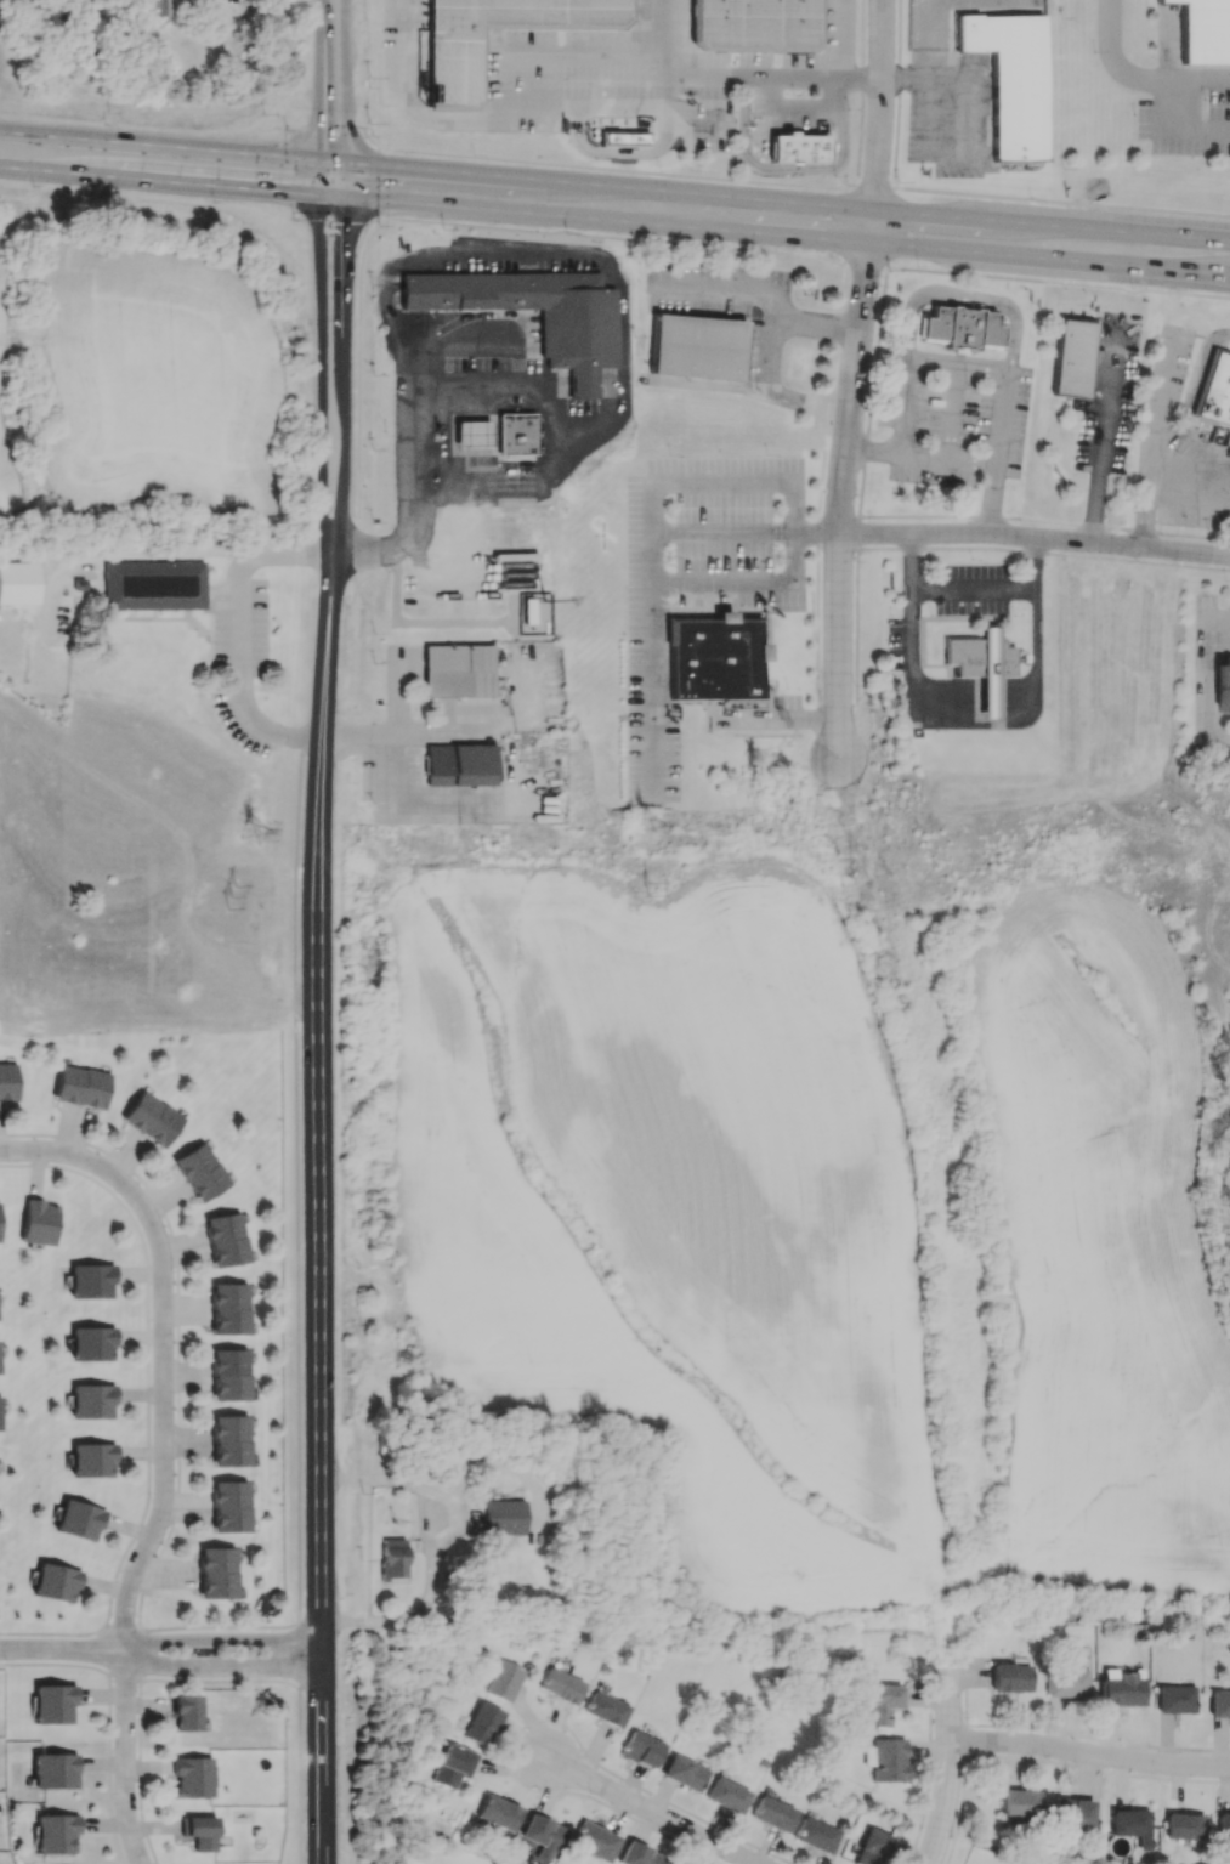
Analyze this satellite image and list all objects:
building: (158, 7)
building: (754, 24)
building: (1205, 30)
road: (840, 39)
road: (930, 39)
road: (662, 53)
building: (457, 68)
parking lot: (622, 68)
road: (770, 77)
road: (1137, 78)
road: (905, 79)
road: (322, 80)
building: (1010, 80)
road: (344, 81)
road: (862, 92)
road: (895, 95)
road: (1169, 98)
road: (583, 104)
road: (798, 104)
road: (877, 104)
road: (505, 111)
parking lot: (1186, 111)
road: (698, 125)
road: (363, 130)
road: (623, 130)
building: (622, 141)
building: (798, 147)
road: (172, 148)
road: (620, 152)
road: (975, 153)
traffic signals: (322, 162)
traffic signals: (346, 164)
road: (794, 168)
road: (24, 170)
road: (197, 185)
road: (376, 185)
road: (806, 185)
traffic signals: (322, 197)
traffic signals: (346, 198)
road: (788, 202)
road: (788, 236)
road: (794, 254)
road: (482, 287)
road: (771, 289)
road: (963, 301)
building: (960, 327)
building: (574, 340)
building: (697, 347)
road: (770, 356)
building: (1072, 357)
road: (322, 359)
road: (345, 361)
road: (967, 366)
road: (357, 381)
building: (1214, 391)
road: (1158, 393)
road: (1195, 395)
parking lot: (1110, 400)
road: (953, 410)
parking lot: (953, 418)
road: (414, 421)
building: (516, 431)
building: (472, 432)
road: (1104, 434)
parking lot: (1177, 442)
road: (555, 447)
road: (948, 455)
road: (1154, 464)
road: (848, 482)
road: (1190, 503)
road: (794, 505)
road: (1037, 520)
road: (1037, 536)
road: (356, 540)
road: (1044, 553)
road: (652, 571)
parking lot: (701, 579)
building: (19, 582)
building: (154, 583)
road: (997, 587)
road: (911, 600)
parking lot: (943, 604)
building: (527, 610)
road: (423, 623)
building: (544, 627)
storage tank: (544, 627)
road: (240, 636)
building: (712, 657)
building: (979, 657)
building: (459, 670)
building: (988, 672)
parking lot: (1212, 679)
road: (975, 682)
road: (1213, 685)
building: (1223, 686)
road: (974, 691)
road: (975, 702)
parking lot: (782, 710)
road: (1016, 712)
road: (780, 719)
road: (378, 738)
building: (460, 765)
power tower: (644, 825)
power tower: (253, 835)
power tower: (652, 889)
power tower: (231, 894)
building: (7, 1081)
building: (81, 1087)
building: (151, 1118)
building: (200, 1171)
road: (316, 1209)
building: (39, 1223)
building: (226, 1239)
building: (91, 1280)
road: (296, 1296)
building: (228, 1308)
building: (92, 1343)
road: (147, 1352)
building: (0, 1369)
building: (229, 1372)
building: (91, 1401)
road: (178, 1405)
building: (0, 1412)
building: (229, 1441)
building: (389, 1441)
road: (164, 1457)
building: (92, 1461)
building: (229, 1507)
building: (504, 1517)
building: (79, 1519)
road: (444, 1540)
building: (391, 1558)
building: (216, 1573)
building: (56, 1581)
road: (123, 1630)
road: (52, 1632)
road: (221, 1636)
road: (63, 1649)
road: (106, 1653)
road: (141, 1653)
road: (53, 1664)
road: (221, 1664)
road: (124, 1676)
building: (1011, 1677)
building: (504, 1681)
building: (1065, 1681)
building: (561, 1685)
building: (1121, 1687)
road: (140, 1693)
building: (1174, 1699)
building: (53, 1701)
building: (1219, 1702)
building: (882, 1704)
building: (605, 1709)
building: (187, 1712)
building: (482, 1723)
building: (641, 1747)
road: (1092, 1755)
building: (889, 1760)
building: (454, 1766)
building: (55, 1769)
road: (108, 1769)
building: (684, 1772)
road: (952, 1772)
building: (193, 1778)
building: (727, 1795)
building: (1019, 1802)
road: (653, 1809)
building: (498, 1812)
building: (1071, 1812)
building: (773, 1813)
building: (1132, 1825)
building: (1183, 1826)
building: (1223, 1828)
building: (56, 1832)
building: (199, 1832)
building: (816, 1835)
building: (542, 1836)
building: (594, 1840)
building: (872, 1847)
building: (637, 1854)
building: (670, 1863)

